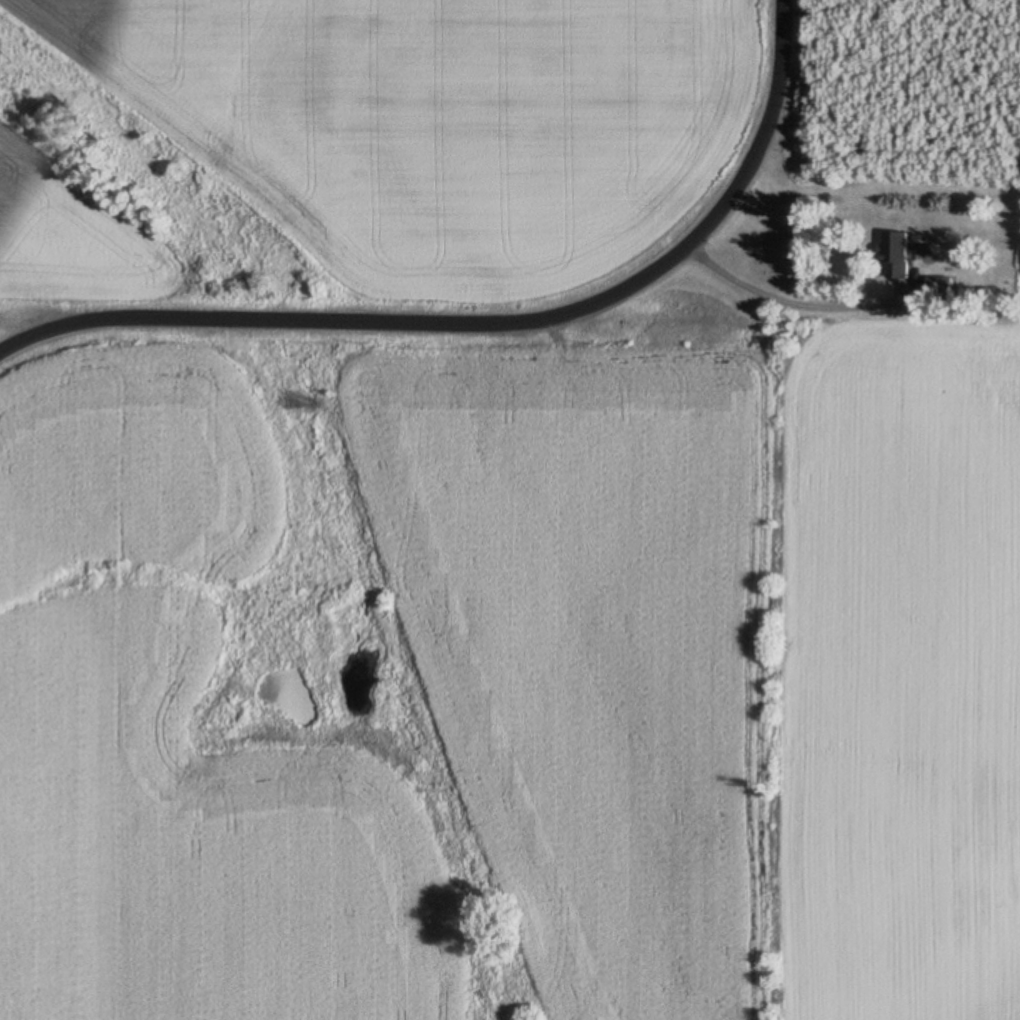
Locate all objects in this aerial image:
crop: (359, 148)
building: (899, 256)
building: (941, 289)
road: (790, 301)
road: (482, 317)
crop: (513, 671)

